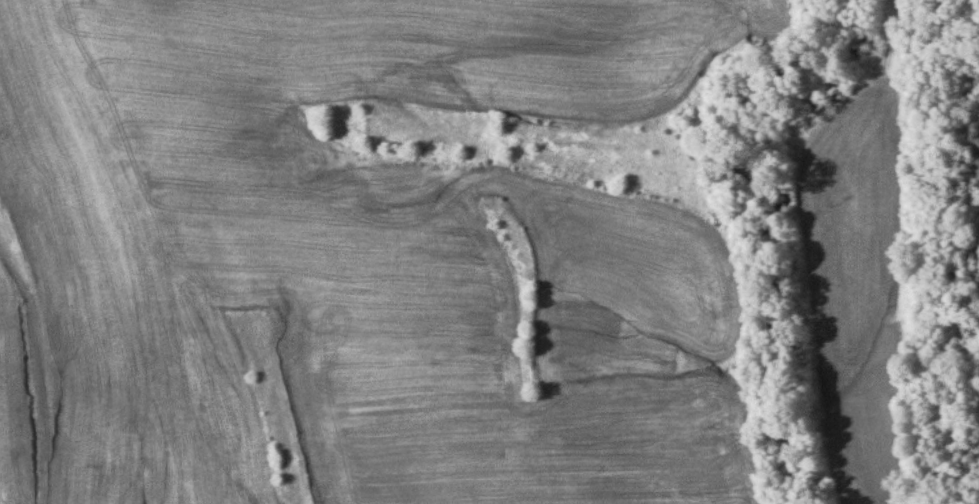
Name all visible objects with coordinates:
road: (36, 362)

